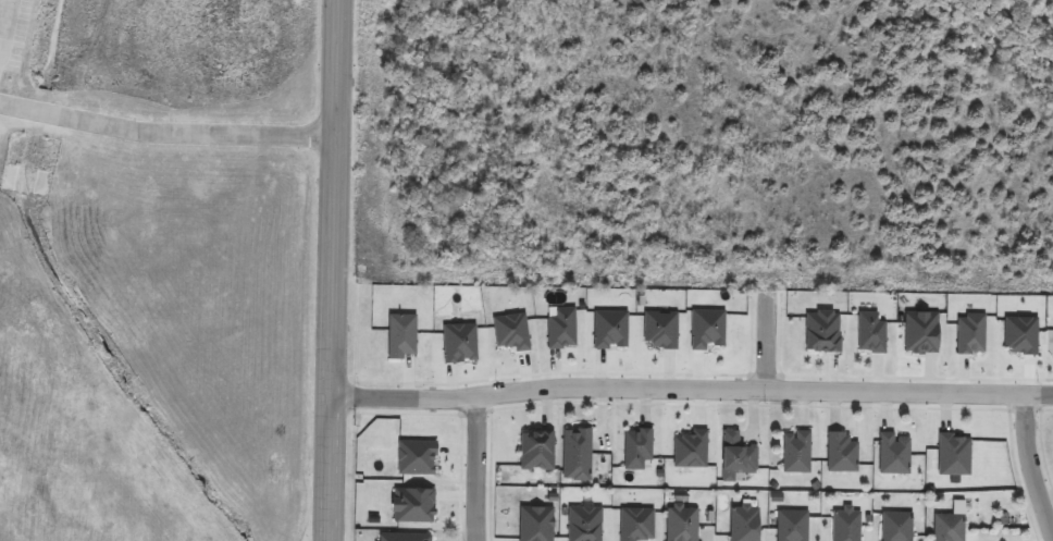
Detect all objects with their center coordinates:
road: (4, 25)
parking lot: (13, 32)
road: (166, 132)
road: (333, 270)
building: (559, 330)
building: (607, 330)
building: (705, 330)
building: (510, 331)
building: (658, 331)
road: (354, 332)
building: (917, 332)
building: (821, 333)
building: (968, 333)
building: (868, 335)
building: (398, 337)
building: (1020, 337)
building: (456, 344)
road: (768, 344)
road: (553, 372)
road: (768, 377)
road: (917, 377)
road: (691, 390)
road: (752, 405)
road: (1027, 407)
road: (1046, 410)
road: (478, 411)
road: (416, 413)
road: (1044, 446)
building: (635, 451)
building: (689, 451)
building: (536, 453)
building: (793, 454)
building: (839, 454)
building: (892, 456)
building: (574, 457)
building: (735, 457)
building: (951, 457)
building: (414, 459)
road: (1032, 463)
road: (481, 469)
road: (493, 476)
road: (1020, 476)
road: (463, 478)
building: (409, 505)
building: (534, 525)
building: (582, 525)
building: (679, 525)
building: (742, 525)
building: (843, 525)
building: (634, 526)
building: (790, 526)
building: (894, 527)
building: (946, 529)
building: (404, 539)

